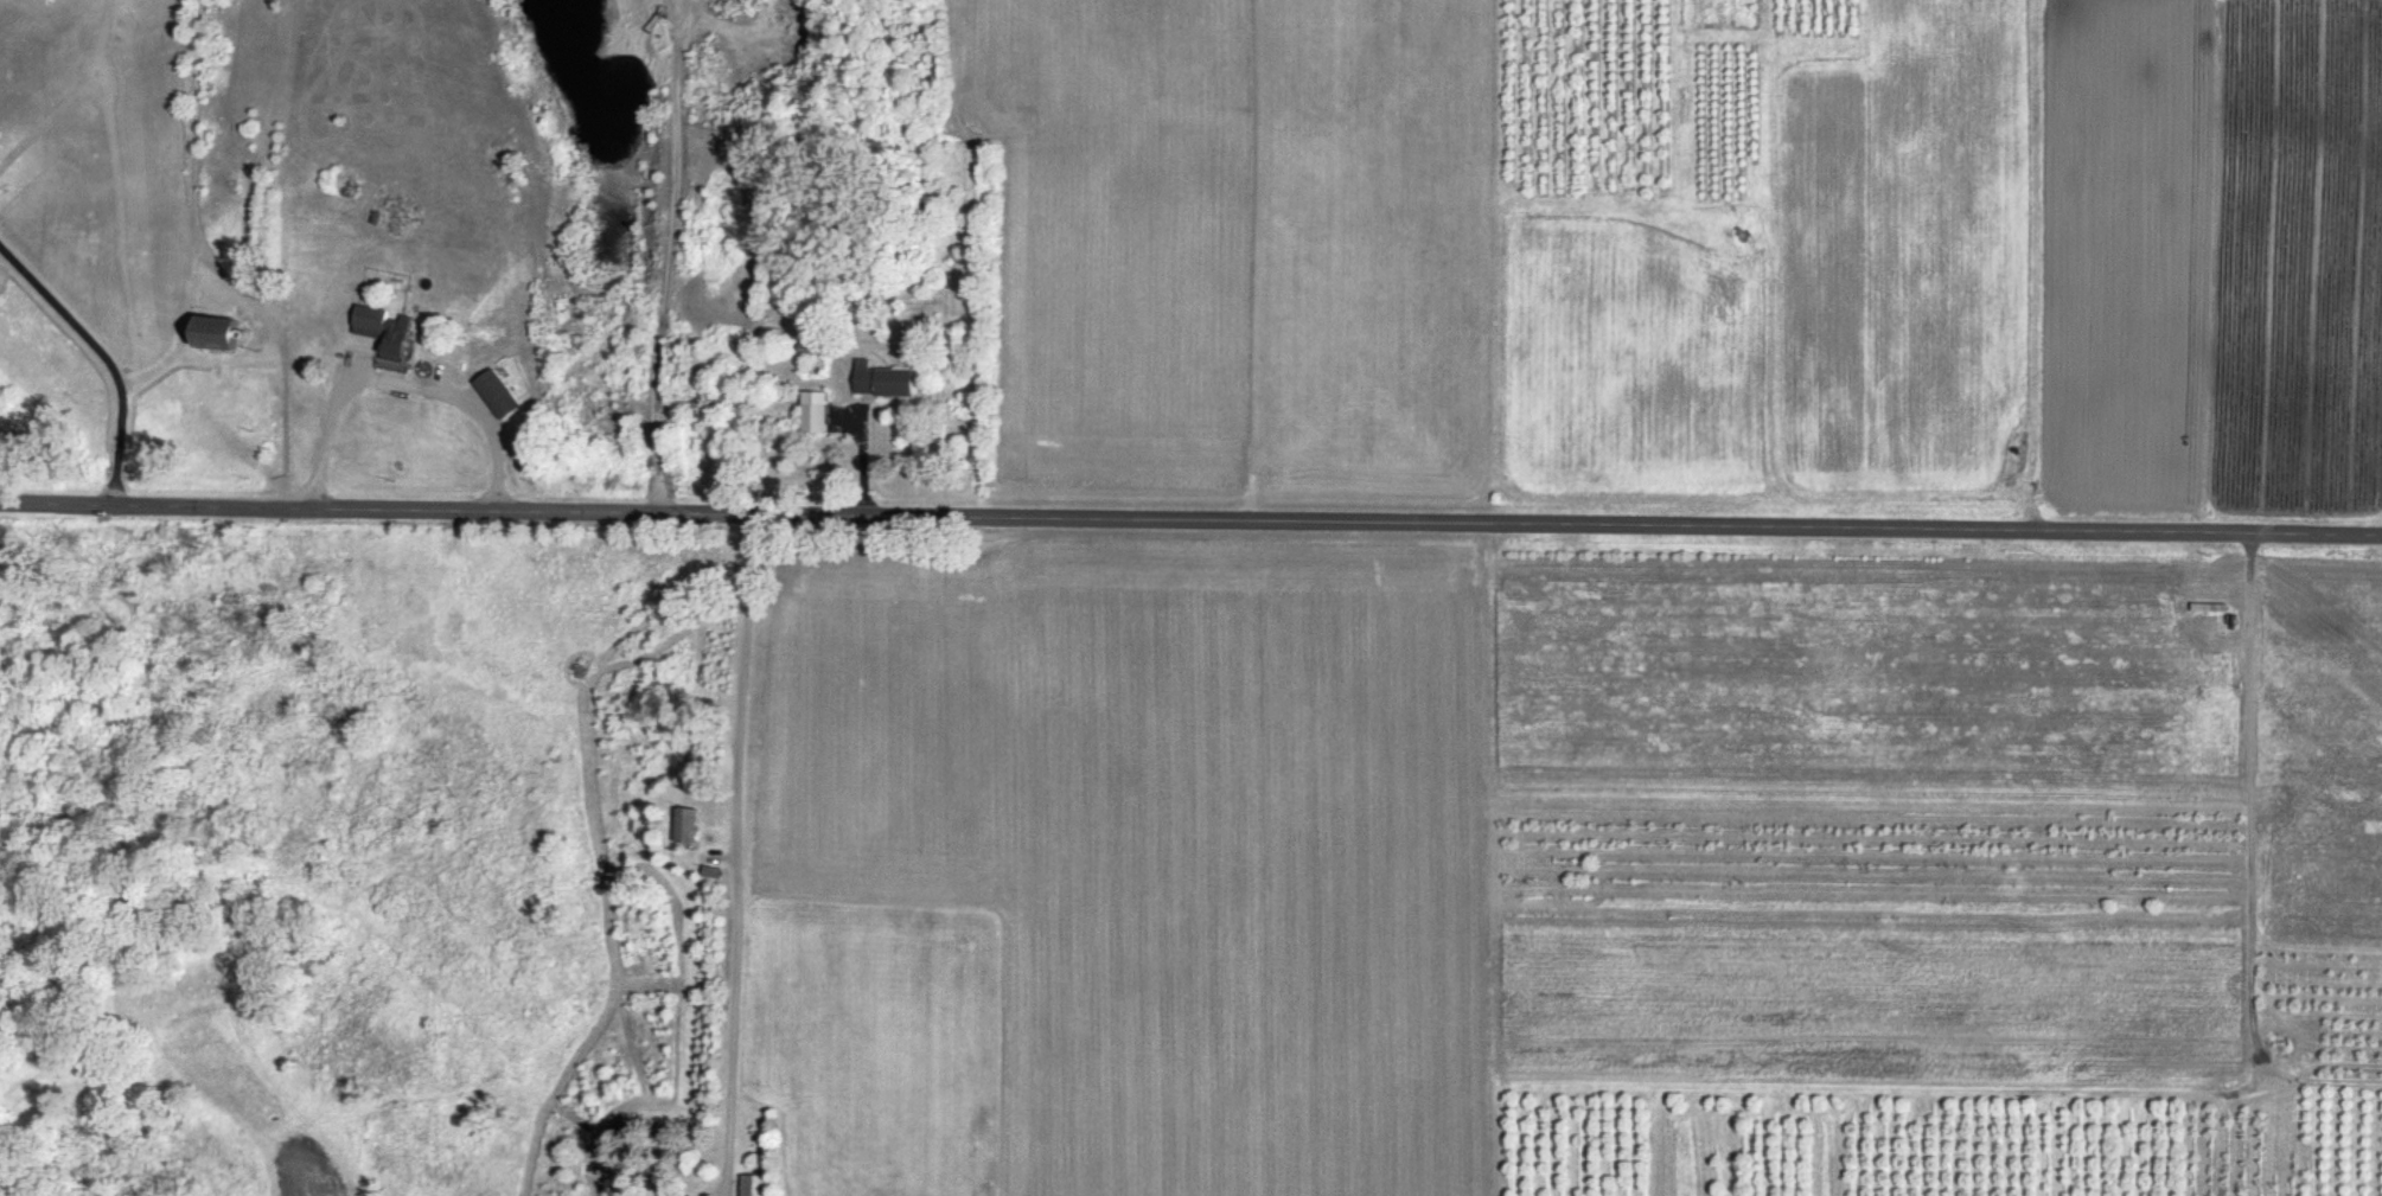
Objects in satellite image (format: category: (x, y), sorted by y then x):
building: (388, 330)
building: (221, 331)
road: (103, 354)
road: (396, 378)
building: (885, 379)
building: (499, 392)
building: (817, 410)
road: (1190, 519)
building: (690, 823)
road: (737, 855)
building: (758, 1184)

